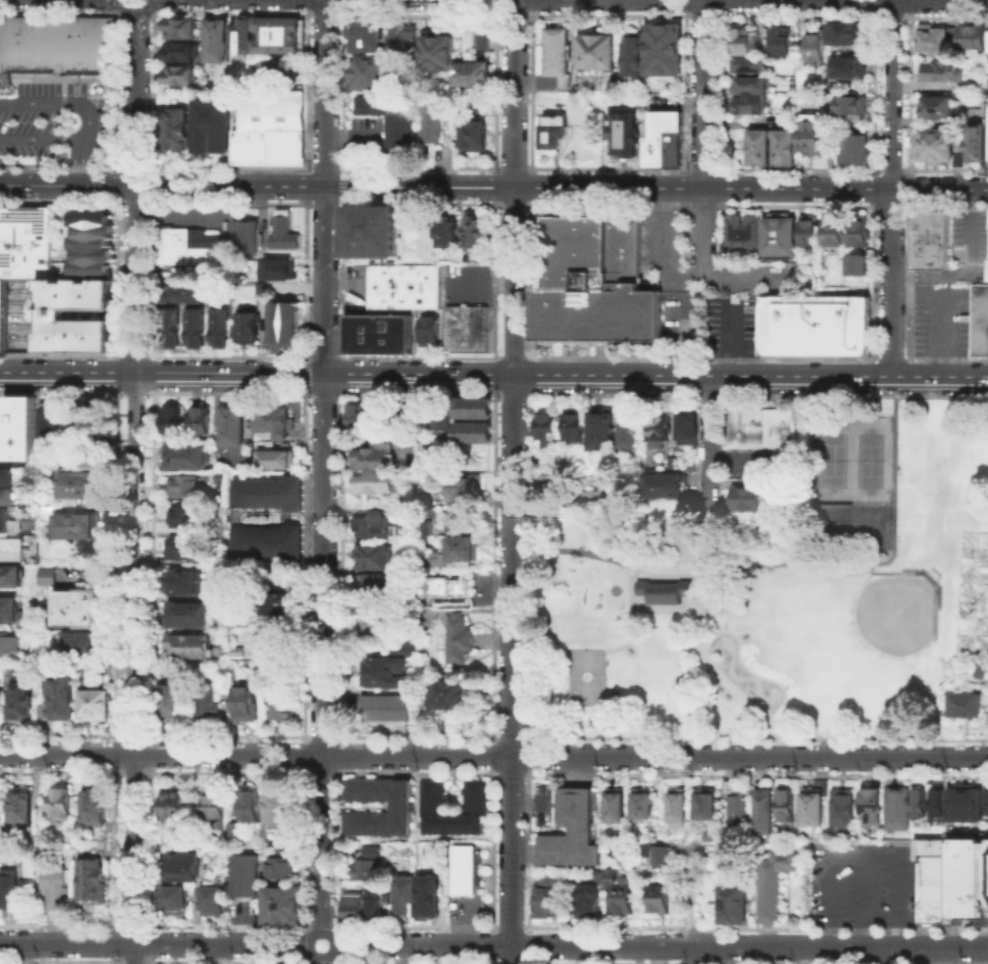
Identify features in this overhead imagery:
building: (177, 27)
building: (275, 33)
building: (366, 33)
building: (847, 35)
building: (970, 35)
building: (240, 36)
building: (403, 36)
building: (215, 39)
building: (481, 40)
building: (56, 41)
building: (740, 42)
building: (934, 42)
building: (783, 43)
building: (437, 48)
building: (816, 49)
building: (177, 50)
building: (665, 50)
building: (558, 53)
building: (598, 54)
building: (635, 58)
building: (751, 66)
building: (278, 69)
building: (850, 69)
building: (368, 70)
building: (472, 72)
building: (178, 73)
building: (944, 73)
road: (705, 94)
building: (752, 98)
building: (853, 108)
building: (939, 109)
building: (392, 117)
road: (89, 121)
parking lot: (54, 122)
building: (210, 122)
building: (431, 122)
building: (174, 128)
building: (269, 128)
building: (472, 134)
building: (626, 134)
building: (809, 134)
building: (558, 135)
building: (667, 140)
building: (783, 145)
building: (978, 145)
building: (758, 146)
building: (937, 146)
building: (856, 151)
road: (494, 186)
road: (892, 188)
building: (286, 232)
road: (660, 232)
road: (705, 232)
building: (373, 233)
building: (477, 233)
building: (811, 233)
building: (449, 234)
building: (743, 234)
building: (860, 236)
building: (835, 237)
building: (26, 238)
building: (246, 239)
building: (781, 240)
building: (933, 241)
building: (92, 242)
building: (175, 242)
building: (857, 263)
building: (285, 270)
road: (683, 276)
road: (745, 276)
building: (589, 287)
building: (408, 288)
building: (262, 291)
building: (180, 292)
road: (939, 311)
building: (55, 314)
building: (2, 315)
parking lot: (942, 321)
building: (980, 321)
building: (170, 325)
building: (194, 325)
building: (286, 325)
road: (684, 325)
building: (218, 326)
building: (818, 326)
building: (248, 327)
building: (469, 329)
building: (432, 332)
building: (381, 336)
road: (729, 341)
road: (161, 373)
road: (656, 374)
street lamp: (976, 398)
street lamp: (898, 405)
building: (472, 407)
building: (93, 411)
building: (272, 418)
building: (405, 420)
building: (202, 421)
building: (365, 421)
building: (174, 422)
building: (231, 424)
building: (52, 425)
building: (441, 425)
building: (760, 426)
building: (663, 427)
building: (574, 428)
building: (692, 428)
building: (19, 430)
building: (472, 430)
building: (603, 431)
building: (632, 431)
building: (86, 432)
building: (550, 433)
road: (711, 453)
building: (374, 455)
building: (272, 457)
building: (90, 458)
building: (189, 458)
park: (832, 459)
park: (868, 459)
road: (323, 466)
building: (691, 468)
street lamp: (898, 472)
building: (5, 478)
road: (512, 481)
road: (134, 482)
building: (376, 484)
building: (78, 486)
building: (549, 486)
building: (186, 487)
building: (466, 487)
building: (669, 487)
building: (267, 491)
building: (591, 494)
building: (747, 496)
building: (7, 497)
building: (428, 500)
building: (184, 518)
building: (450, 519)
building: (5, 520)
park: (849, 526)
building: (76, 527)
building: (427, 531)
building: (267, 540)
building: (373, 540)
street lamp: (897, 540)
street lamp: (581, 545)
building: (10, 549)
building: (182, 549)
building: (454, 557)
road: (886, 559)
street lamp: (619, 568)
road: (628, 569)
street lamp: (768, 569)
building: (11, 577)
road: (723, 577)
building: (51, 579)
building: (185, 584)
building: (376, 585)
building: (448, 588)
park: (613, 589)
building: (663, 590)
road: (697, 591)
park: (772, 592)
building: (724, 594)
road: (730, 600)
building: (269, 603)
street lamp: (704, 606)
street lamp: (621, 607)
building: (79, 609)
building: (11, 612)
building: (426, 615)
building: (192, 616)
road: (629, 621)
building: (380, 622)
building: (273, 639)
building: (460, 640)
park: (851, 642)
building: (11, 643)
road: (621, 643)
building: (404, 644)
building: (80, 645)
building: (192, 648)
building: (976, 655)
road: (709, 664)
building: (220, 668)
road: (745, 668)
building: (977, 669)
water park: (741, 671)
building: (279, 672)
building: (387, 672)
park: (584, 675)
building: (0, 689)
building: (60, 696)
building: (450, 696)
building: (244, 700)
building: (22, 702)
building: (171, 702)
building: (210, 702)
building: (278, 702)
building: (963, 704)
building: (96, 707)
building: (387, 711)
building: (963, 718)
road: (493, 755)
building: (478, 799)
building: (986, 799)
building: (172, 801)
building: (211, 801)
building: (252, 801)
building: (645, 803)
building: (783, 803)
building: (61, 804)
building: (967, 804)
building: (708, 805)
building: (921, 805)
building: (939, 805)
building: (810, 806)
building: (23, 807)
building: (98, 807)
building: (617, 807)
building: (763, 807)
building: (876, 807)
building: (278, 809)
building: (401, 809)
building: (680, 809)
building: (845, 809)
building: (899, 811)
building: (740, 812)
building: (573, 833)
building: (711, 833)
building: (372, 852)
road: (861, 852)
building: (659, 854)
building: (284, 868)
building: (186, 869)
building: (366, 870)
building: (466, 871)
park: (857, 871)
building: (610, 875)
building: (248, 877)
building: (953, 877)
building: (94, 883)
parking lot: (864, 883)
building: (775, 885)
building: (14, 888)
building: (58, 888)
building: (622, 893)
building: (551, 897)
building: (658, 897)
building: (403, 898)
building: (429, 898)
building: (586, 899)
road: (693, 899)
road: (861, 899)
building: (176, 903)
building: (215, 903)
building: (733, 903)
building: (362, 905)
building: (283, 907)
road: (326, 925)
road: (414, 925)
road: (508, 925)
road: (754, 927)
road: (322, 932)
road: (154, 943)
road: (659, 944)
road: (699, 954)
road: (887, 955)
road: (936, 955)
road: (984, 955)
road: (320, 959)
road: (327, 962)
road: (415, 962)
road: (509, 962)
road: (604, 963)
road: (698, 963)
road: (793, 963)
road: (882, 963)

